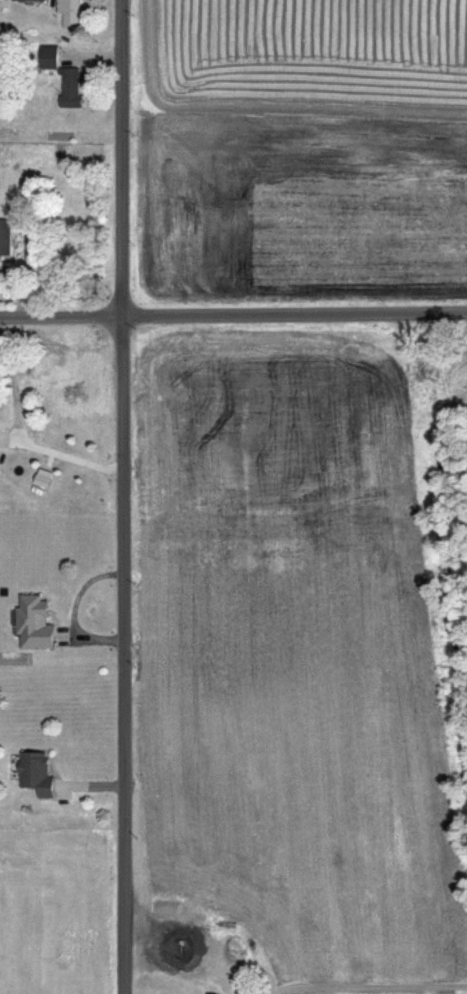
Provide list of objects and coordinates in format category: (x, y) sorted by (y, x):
building: (71, 13)
building: (49, 56)
building: (71, 87)
building: (6, 236)
road: (233, 313)
road: (12, 384)
road: (61, 452)
road: (124, 497)
building: (35, 621)
building: (37, 772)

